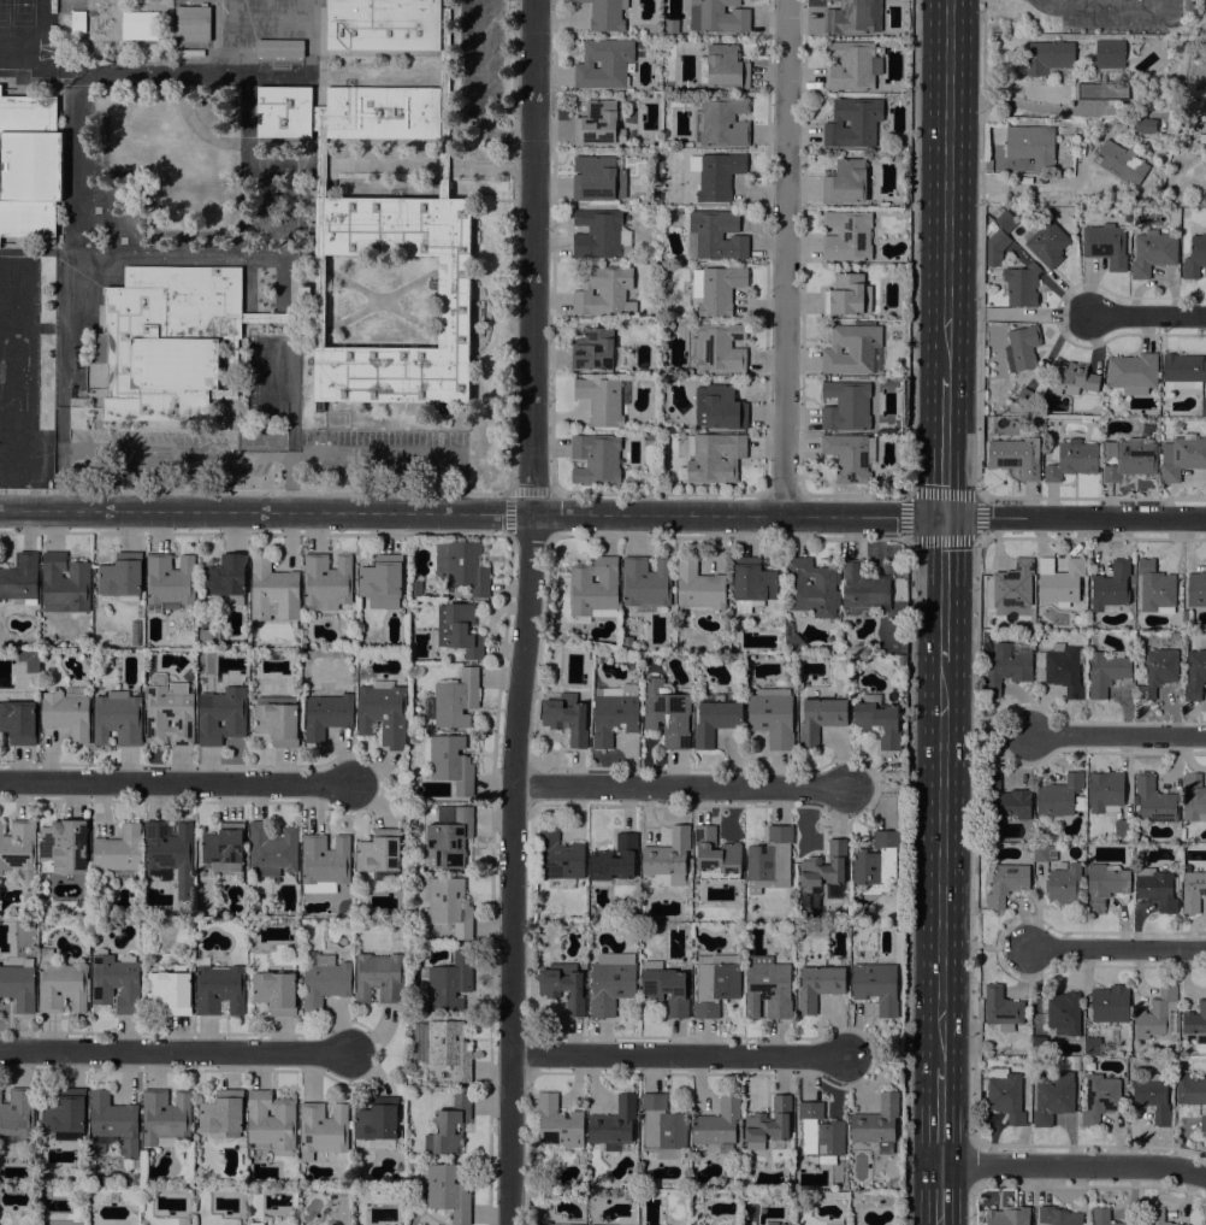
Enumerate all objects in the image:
road: (1101, 5)
building: (1188, 5)
park: (4, 13)
park: (23, 13)
building: (605, 14)
building: (719, 16)
building: (853, 17)
building: (78, 22)
building: (191, 23)
building: (383, 24)
building: (140, 25)
building: (672, 25)
road: (311, 35)
building: (278, 47)
building: (1109, 51)
building: (1047, 55)
building: (604, 63)
building: (852, 65)
building: (723, 67)
road: (94, 69)
road: (481, 77)
building: (1102, 92)
building: (444, 104)
building: (284, 111)
building: (383, 112)
building: (721, 122)
building: (855, 122)
building: (598, 124)
building: (1143, 125)
road: (520, 139)
building: (1202, 139)
building: (1177, 142)
building: (1031, 145)
building: (320, 146)
building: (1121, 163)
building: (29, 165)
building: (719, 176)
building: (597, 178)
building: (847, 182)
road: (946, 189)
building: (1205, 194)
building: (1005, 222)
building: (989, 223)
building: (598, 235)
building: (715, 235)
building: (847, 236)
building: (1046, 241)
building: (1106, 245)
road: (911, 247)
road: (980, 248)
building: (995, 248)
building: (1153, 252)
road: (95, 257)
road: (784, 257)
building: (1194, 257)
building: (1021, 285)
building: (719, 289)
building: (604, 291)
building: (305, 293)
building: (847, 295)
building: (195, 299)
building: (454, 301)
building: (320, 306)
road: (1034, 313)
road: (1147, 314)
building: (894, 335)
building: (719, 348)
building: (851, 348)
building: (1022, 348)
building: (593, 349)
building: (113, 351)
building: (175, 364)
building: (1133, 371)
building: (1184, 371)
building: (229, 375)
building: (1071, 378)
building: (1024, 397)
building: (601, 401)
building: (850, 406)
building: (719, 407)
building: (1204, 407)
road: (945, 447)
road: (284, 457)
building: (714, 457)
building: (847, 457)
building: (1182, 457)
building: (596, 458)
road: (60, 459)
building: (1013, 460)
building: (1072, 460)
building: (1130, 460)
road: (290, 484)
road: (975, 495)
road: (522, 506)
road: (30, 511)
road: (502, 513)
traffic signals: (944, 516)
road: (1075, 516)
building: (461, 566)
building: (120, 577)
building: (20, 579)
building: (226, 579)
building: (380, 581)
building: (645, 581)
building: (1059, 581)
building: (326, 582)
building: (169, 583)
building: (65, 584)
building: (752, 584)
building: (1015, 584)
building: (593, 585)
building: (1154, 585)
building: (1110, 587)
building: (810, 588)
building: (864, 588)
building: (415, 589)
building: (698, 589)
road: (942, 589)
building: (1196, 589)
building: (273, 591)
road: (525, 612)
building: (459, 629)
building: (208, 637)
building: (792, 637)
building: (627, 640)
building: (29, 659)
building: (1004, 667)
building: (1064, 669)
building: (1105, 671)
building: (1158, 671)
building: (1194, 675)
building: (456, 699)
building: (614, 712)
building: (667, 712)
building: (65, 713)
building: (169, 713)
building: (383, 713)
building: (326, 714)
building: (220, 715)
building: (772, 715)
building: (566, 717)
building: (117, 718)
building: (715, 718)
building: (820, 718)
building: (277, 719)
building: (17, 722)
building: (877, 723)
road: (1004, 736)
road: (1119, 737)
building: (449, 761)
road: (173, 782)
road: (681, 787)
road: (879, 787)
building: (1105, 791)
building: (1058, 795)
building: (1004, 797)
building: (1193, 797)
building: (1154, 801)
building: (1123, 829)
building: (448, 837)
road: (974, 840)
building: (64, 847)
building: (224, 847)
building: (1030, 847)
building: (19, 848)
building: (271, 849)
building: (117, 850)
building: (170, 850)
building: (1044, 853)
building: (379, 854)
building: (558, 854)
building: (715, 855)
building: (668, 858)
building: (615, 859)
building: (770, 859)
building: (324, 862)
building: (875, 862)
road: (941, 865)
building: (826, 870)
road: (909, 882)
building: (1006, 883)
building: (1064, 884)
building: (1105, 884)
building: (1155, 888)
building: (1193, 890)
building: (448, 905)
road: (1004, 947)
road: (1119, 949)
building: (379, 978)
building: (324, 979)
building: (611, 982)
building: (820, 982)
building: (445, 983)
building: (19, 984)
building: (60, 984)
building: (114, 984)
building: (716, 984)
building: (769, 984)
building: (563, 985)
building: (876, 987)
building: (664, 988)
building: (219, 989)
building: (171, 990)
building: (274, 991)
building: (1110, 1003)
building: (1001, 1008)
building: (1064, 1013)
building: (1155, 1014)
building: (1195, 1023)
building: (1039, 1043)
building: (1092, 1046)
building: (443, 1047)
road: (176, 1050)
road: (679, 1055)
road: (875, 1058)
building: (1189, 1089)
building: (1005, 1095)
building: (1152, 1095)
building: (1052, 1096)
building: (1099, 1099)
building: (17, 1112)
building: (64, 1113)
building: (221, 1113)
road: (940, 1117)
building: (165, 1118)
building: (271, 1120)
building: (114, 1121)
building: (378, 1123)
building: (1202, 1123)
building: (558, 1124)
building: (768, 1124)
building: (877, 1124)
building: (614, 1125)
building: (717, 1125)
building: (449, 1126)
building: (323, 1129)
building: (662, 1129)
building: (820, 1132)
building: (315, 1155)
road: (970, 1164)
road: (1074, 1165)
building: (100, 1179)
building: (135, 1179)
building: (447, 1191)
road: (940, 1195)
road: (973, 1205)
building: (1058, 1215)
building: (1007, 1217)
building: (1105, 1217)
building: (1157, 1217)
building: (254, 1223)
building: (544, 1223)
building: (770, 1223)
building: (602, 1224)

